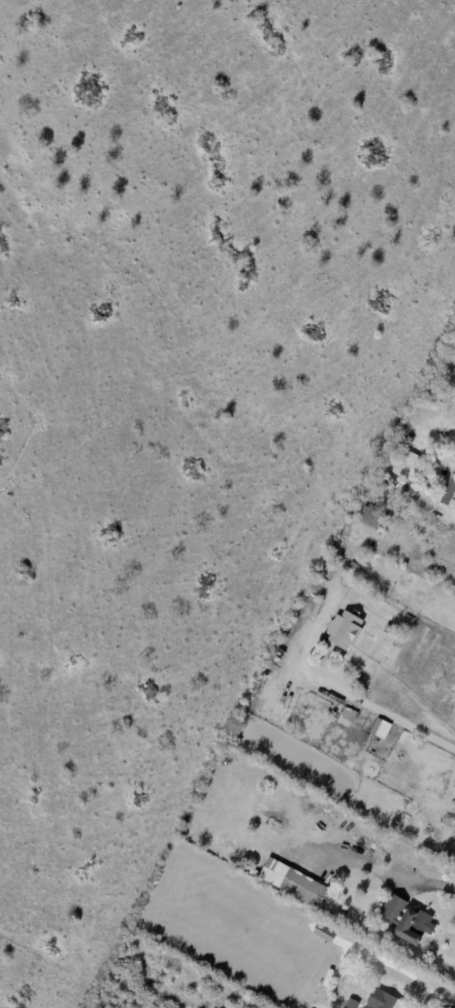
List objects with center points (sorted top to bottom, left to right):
building: (410, 455)
building: (389, 491)
road: (411, 493)
building: (449, 493)
building: (372, 519)
building: (329, 563)
building: (348, 639)
road: (349, 681)
building: (379, 729)
building: (371, 736)
building: (454, 812)
building: (409, 820)
road: (376, 864)
building: (304, 889)
building: (407, 922)
building: (322, 933)
building: (384, 1000)

